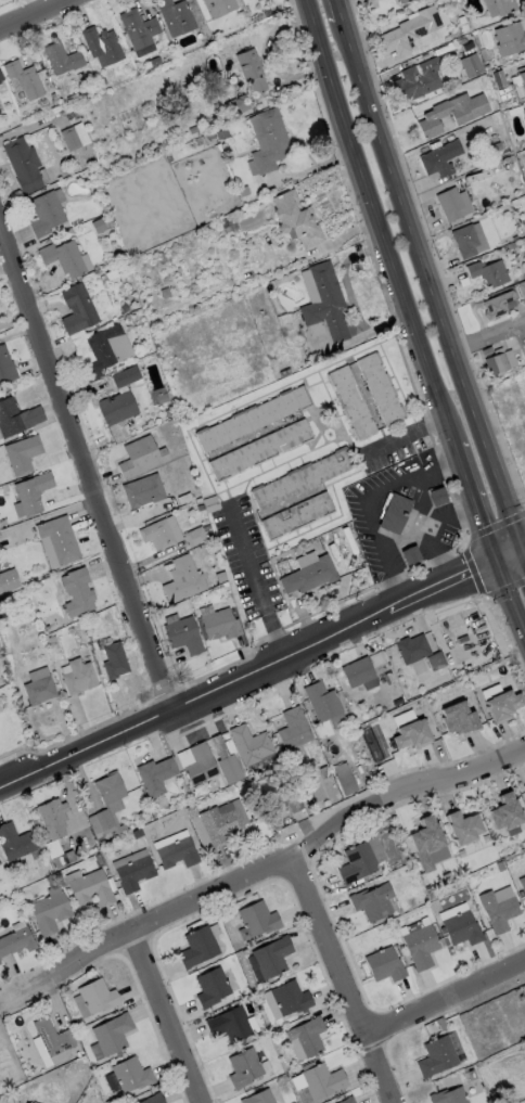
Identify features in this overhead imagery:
building: (257, 0)
building: (402, 1)
building: (503, 7)
building: (218, 8)
road: (338, 9)
road: (33, 14)
building: (175, 17)
building: (501, 18)
building: (420, 22)
building: (139, 33)
building: (510, 39)
building: (462, 41)
building: (394, 42)
building: (102, 44)
building: (468, 47)
building: (443, 50)
building: (62, 59)
building: (38, 62)
building: (154, 62)
building: (471, 66)
building: (487, 67)
building: (252, 70)
building: (1, 77)
building: (496, 78)
building: (25, 80)
building: (418, 80)
building: (103, 81)
building: (234, 81)
building: (522, 81)
building: (504, 94)
building: (54, 100)
building: (235, 106)
building: (72, 108)
building: (452, 114)
building: (524, 116)
building: (524, 128)
building: (221, 134)
building: (210, 137)
building: (75, 138)
building: (268, 142)
building: (496, 149)
building: (440, 159)
building: (23, 166)
building: (489, 167)
building: (243, 191)
building: (453, 204)
building: (47, 213)
building: (296, 220)
road: (375, 223)
building: (98, 227)
building: (523, 230)
building: (465, 241)
building: (513, 245)
building: (161, 255)
building: (64, 258)
building: (179, 269)
building: (487, 271)
building: (111, 277)
road: (428, 284)
building: (521, 286)
building: (165, 294)
building: (325, 303)
building: (497, 303)
building: (124, 308)
building: (77, 309)
road: (488, 335)
building: (104, 350)
building: (497, 360)
building: (5, 367)
building: (285, 373)
building: (126, 377)
building: (380, 389)
building: (162, 399)
building: (353, 402)
building: (117, 408)
building: (16, 418)
building: (254, 419)
road: (405, 431)
building: (260, 450)
building: (23, 454)
building: (139, 456)
road: (86, 472)
building: (303, 479)
building: (143, 491)
building: (33, 493)
building: (437, 497)
building: (183, 499)
road: (357, 501)
road: (474, 503)
building: (210, 504)
building: (395, 514)
building: (297, 515)
building: (161, 534)
building: (195, 537)
building: (60, 539)
building: (410, 555)
traffic signals: (496, 562)
building: (220, 577)
building: (309, 577)
building: (182, 580)
road: (257, 581)
building: (2, 587)
building: (77, 592)
road: (509, 598)
building: (220, 625)
building: (183, 636)
building: (52, 641)
building: (412, 649)
building: (114, 660)
building: (436, 662)
road: (261, 669)
building: (360, 674)
building: (78, 677)
building: (39, 691)
building: (322, 702)
building: (503, 706)
building: (0, 710)
building: (459, 720)
building: (294, 730)
building: (412, 734)
building: (251, 745)
building: (229, 746)
building: (196, 762)
building: (226, 762)
building: (324, 772)
building: (155, 777)
building: (345, 780)
building: (524, 787)
building: (110, 788)
road: (404, 791)
building: (293, 803)
building: (505, 812)
building: (53, 819)
building: (101, 822)
building: (217, 826)
building: (463, 828)
building: (121, 831)
building: (137, 834)
building: (426, 842)
building: (14, 843)
building: (48, 845)
building: (178, 854)
building: (69, 857)
building: (59, 862)
building: (357, 863)
building: (135, 874)
building: (522, 884)
building: (91, 889)
building: (427, 890)
road: (195, 901)
building: (373, 903)
building: (50, 913)
building: (501, 914)
building: (215, 918)
building: (257, 921)
building: (461, 929)
building: (16, 942)
building: (421, 947)
building: (197, 948)
building: (272, 957)
building: (0, 963)
building: (385, 965)
road: (48, 974)
road: (345, 978)
building: (212, 987)
building: (98, 997)
building: (291, 998)
road: (447, 999)
road: (169, 1016)
building: (230, 1025)
building: (113, 1034)
building: (307, 1036)
building: (52, 1038)
building: (242, 1042)
building: (317, 1056)
building: (437, 1057)
building: (79, 1066)
building: (244, 1068)
building: (132, 1075)
building: (322, 1081)
building: (449, 1096)
building: (259, 1098)
building: (154, 1099)
building: (345, 1100)
building: (112, 1101)
building: (25, 1102)

